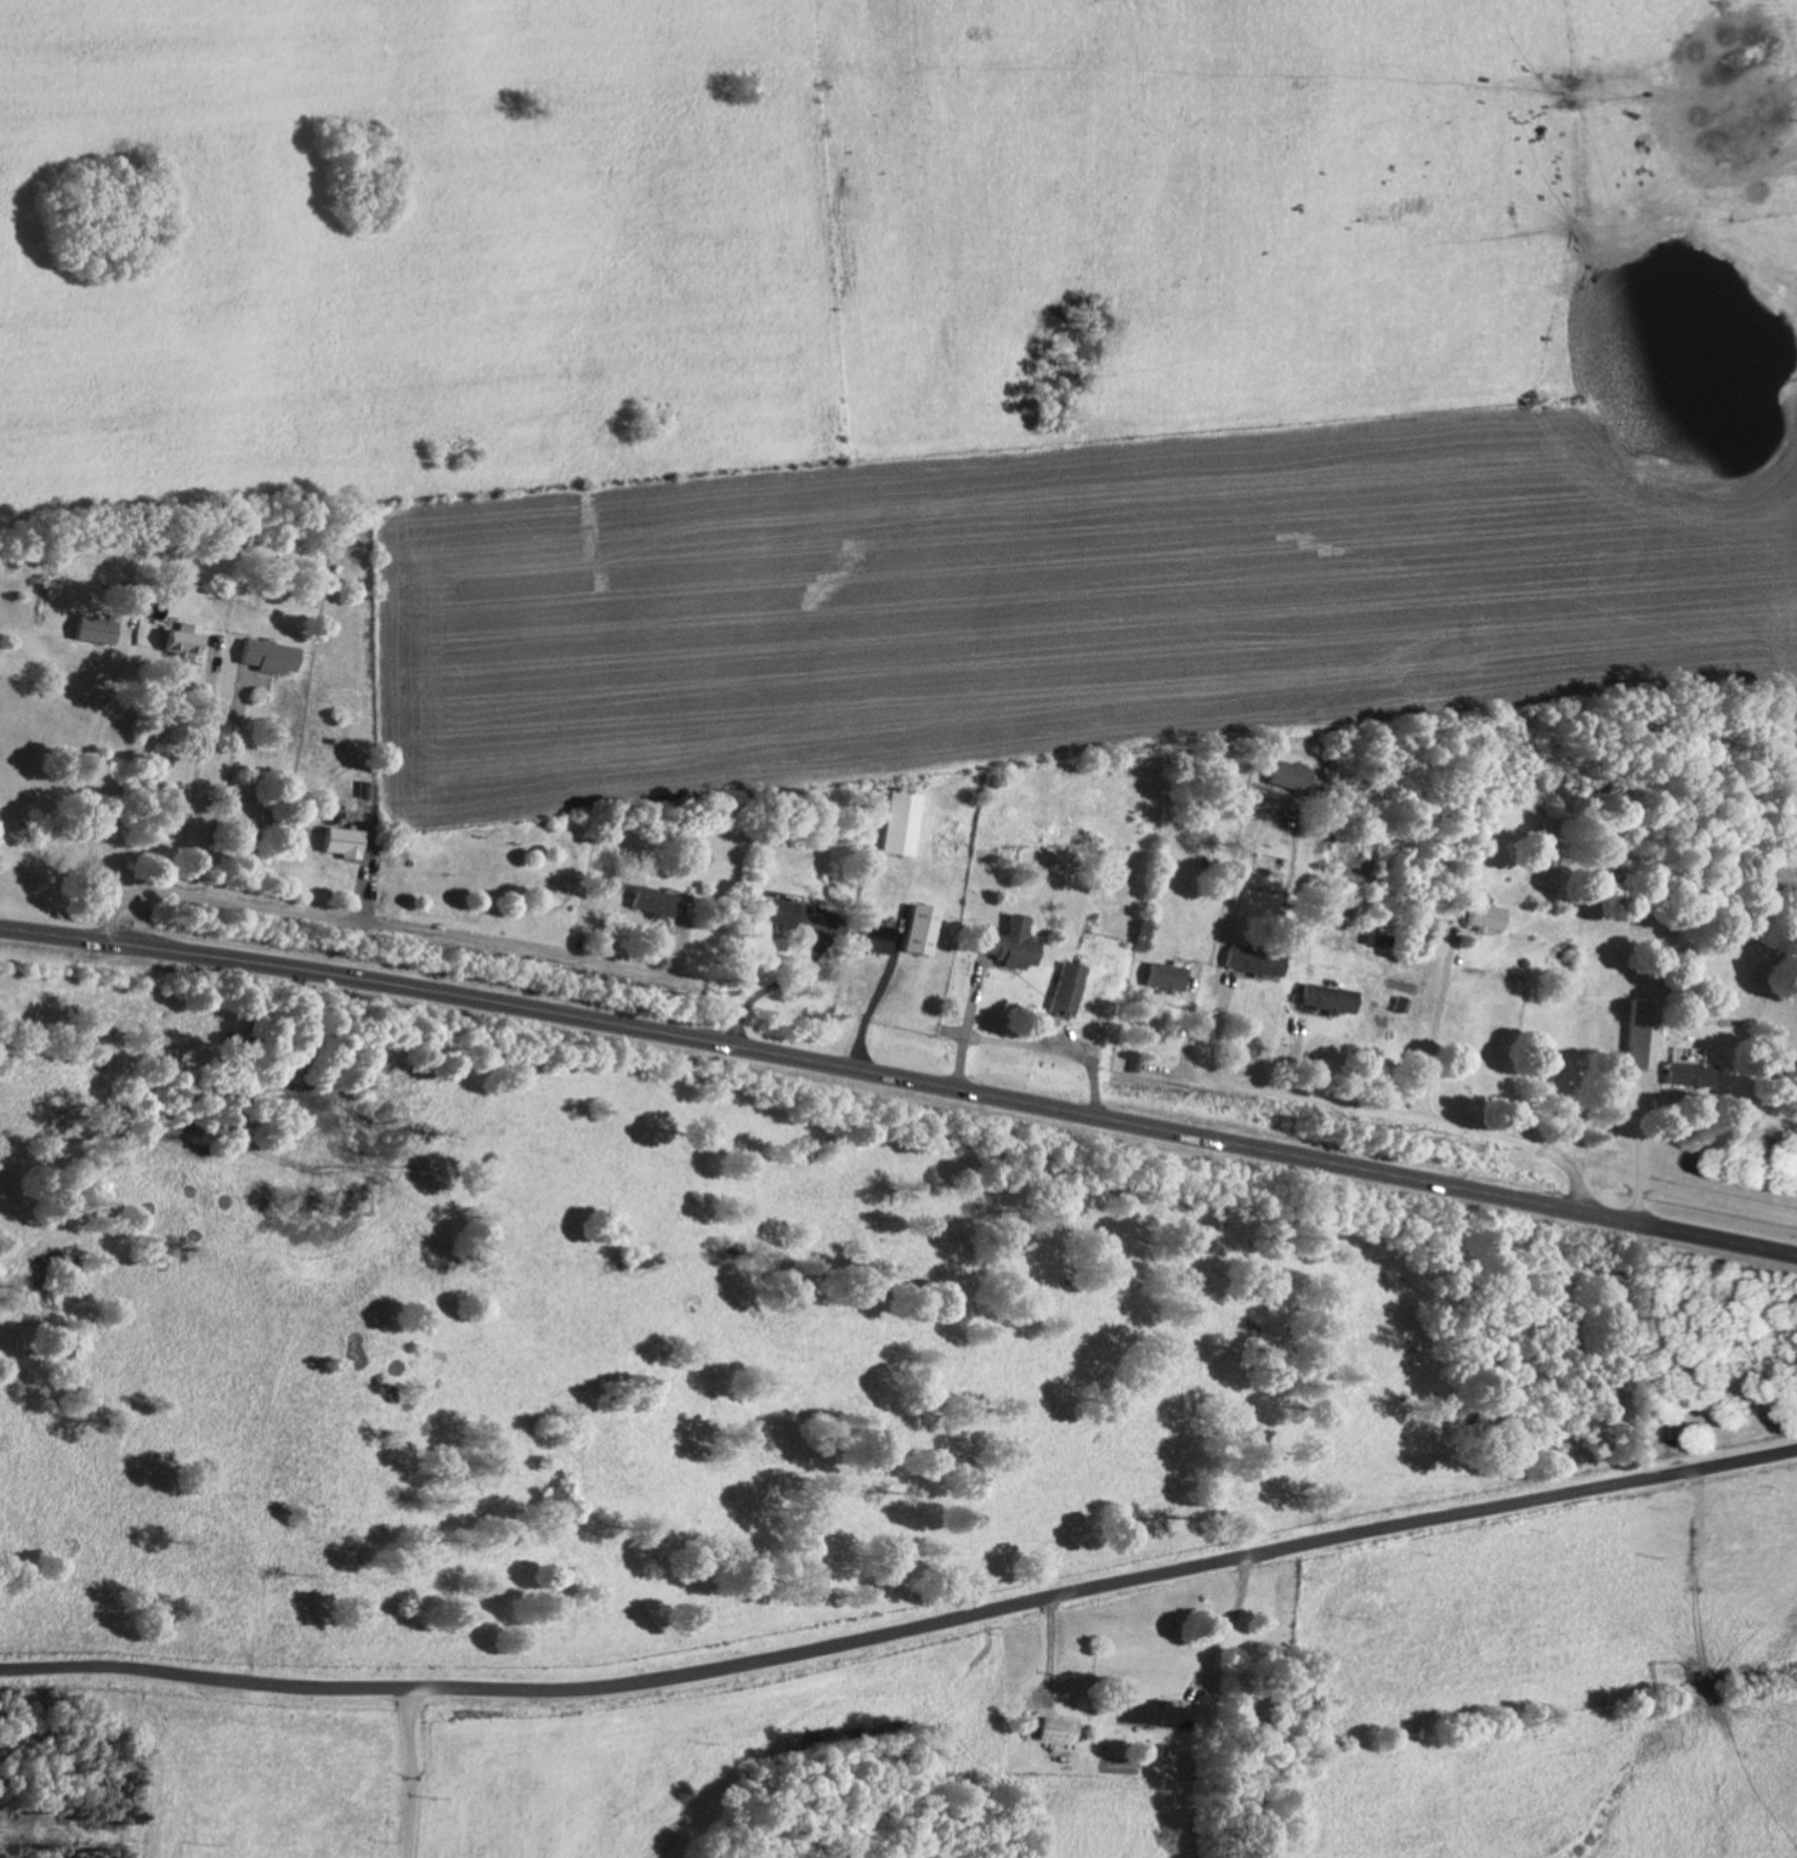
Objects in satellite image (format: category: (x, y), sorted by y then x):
building: (100, 630)
building: (187, 639)
building: (272, 656)
building: (1291, 776)
road: (93, 780)
road: (189, 787)
road: (236, 805)
building: (903, 823)
building: (345, 842)
road: (363, 854)
building: (656, 902)
road: (109, 912)
building: (778, 912)
building: (1487, 914)
road: (442, 929)
building: (923, 930)
building: (878, 939)
building: (1013, 944)
building: (1258, 962)
building: (1167, 976)
building: (1068, 989)
building: (1332, 997)
building: (1645, 1035)
road: (1436, 1038)
road: (1493, 1044)
building: (1693, 1075)
road: (901, 1076)
road: (1419, 1116)
road: (1616, 1123)
road: (1228, 1626)
road: (903, 1632)
building: (1149, 1711)
building: (1059, 1729)
road: (414, 1772)

